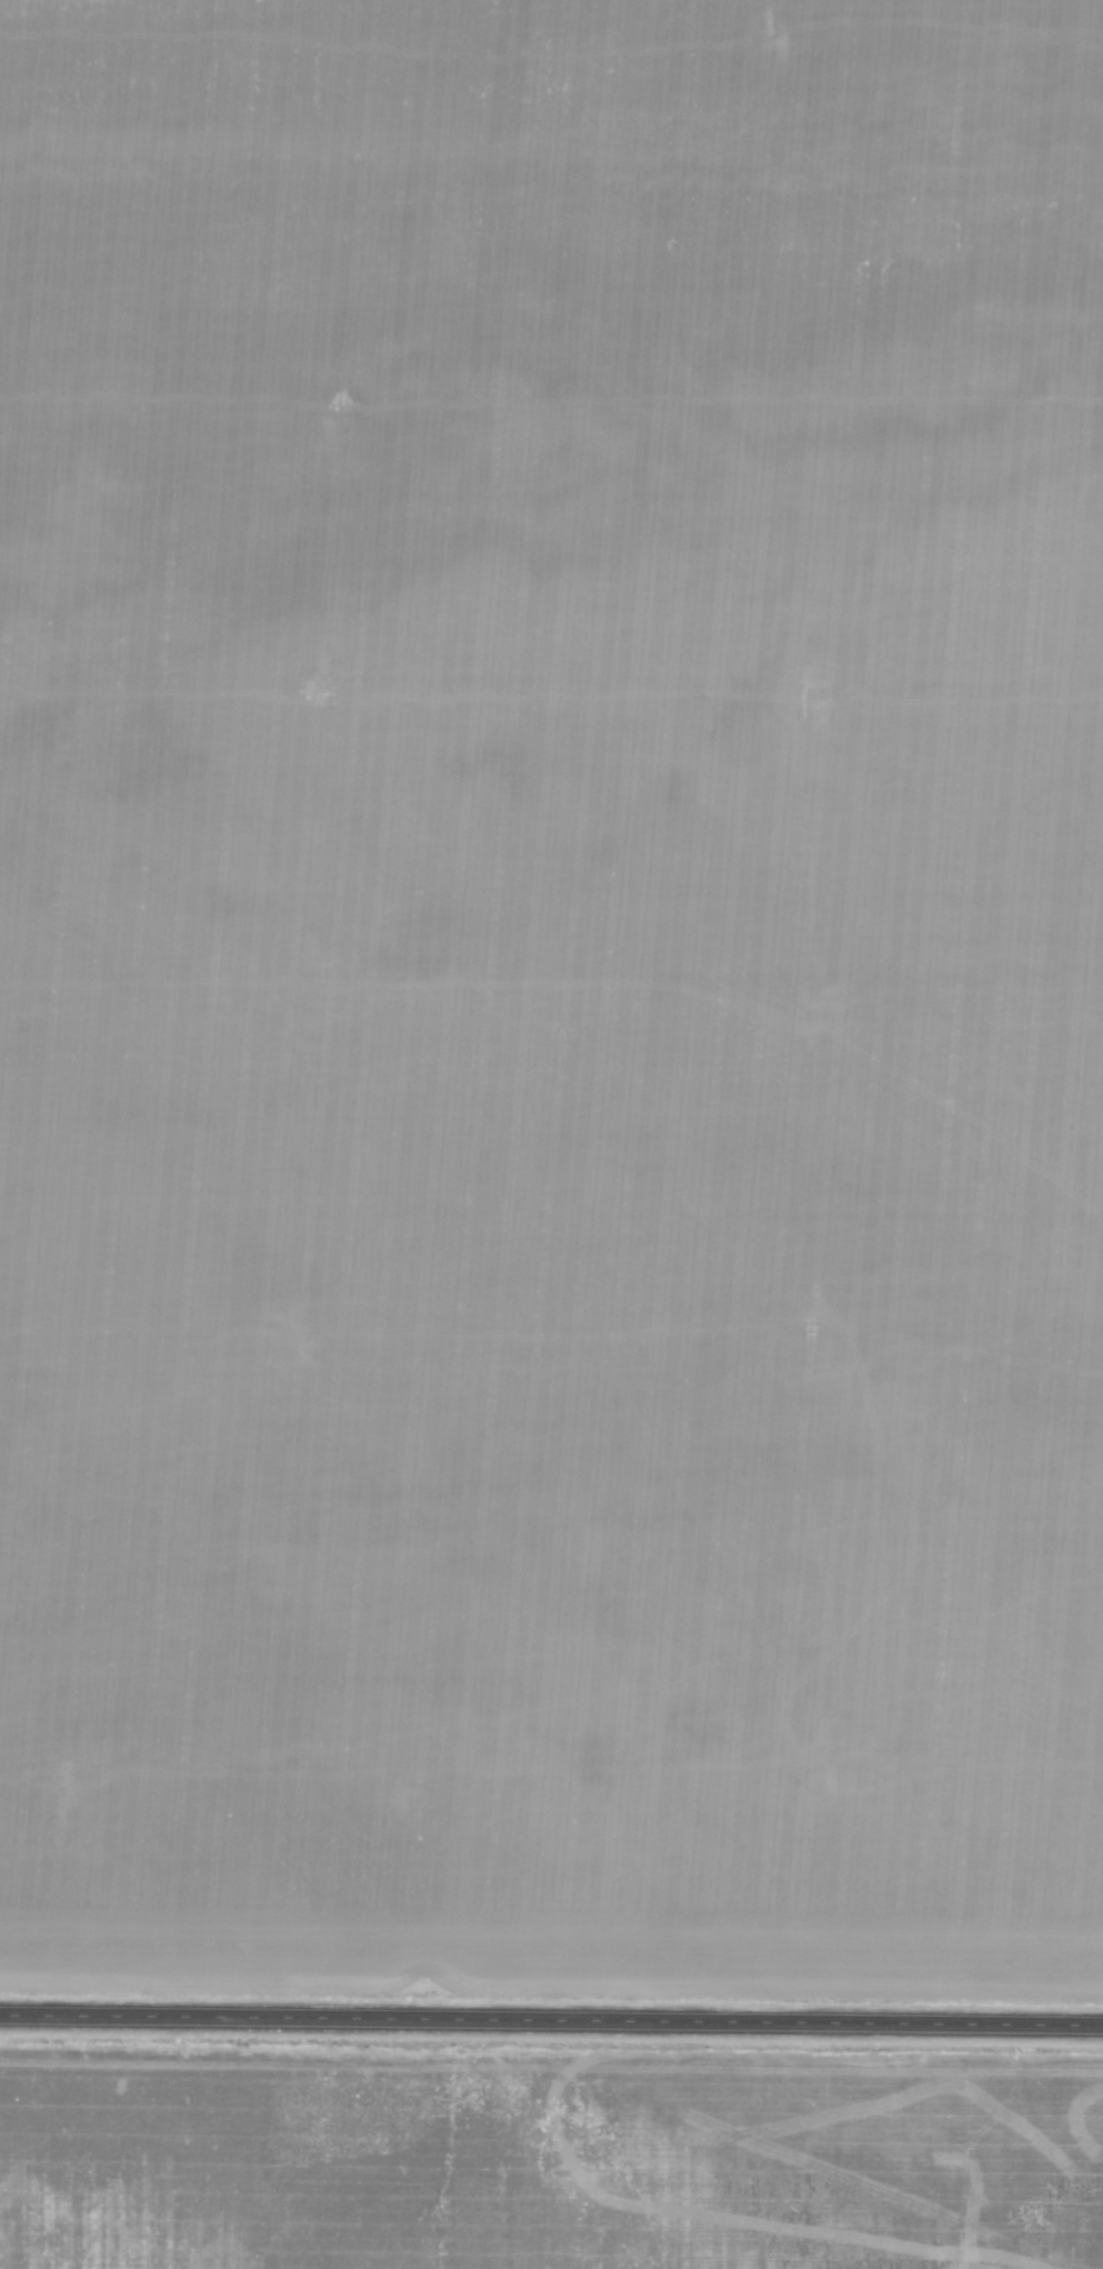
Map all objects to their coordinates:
road: (551, 2024)

